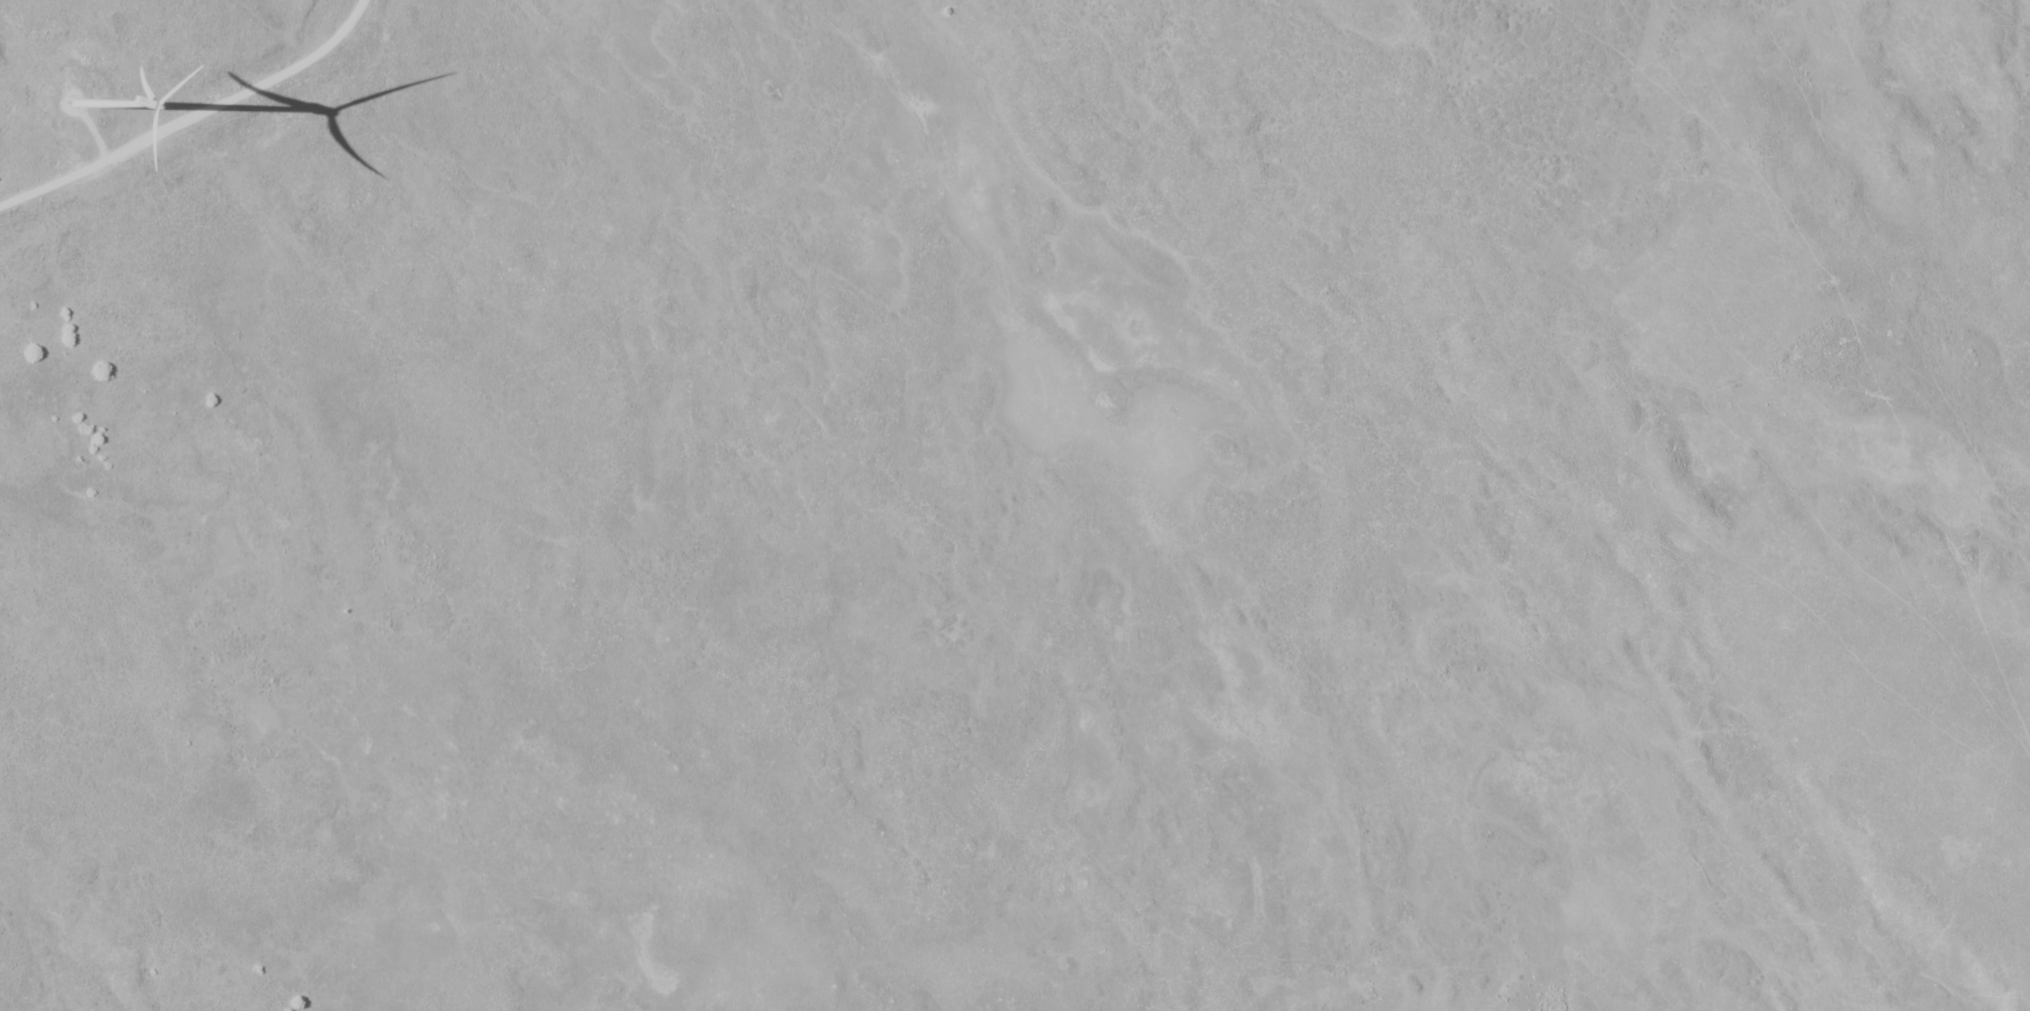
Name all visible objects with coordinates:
wind turbine: (83, 105)

